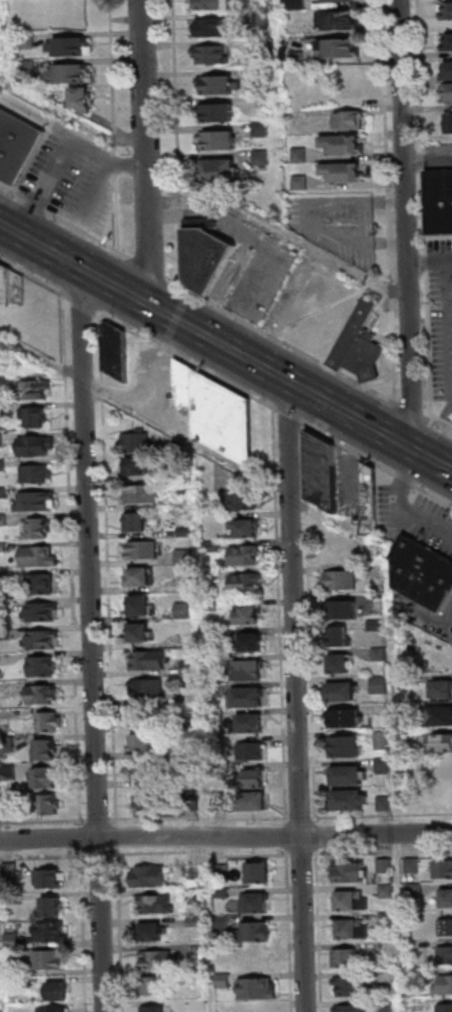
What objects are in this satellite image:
building: (341, 1)
building: (211, 5)
building: (295, 5)
building: (447, 11)
building: (262, 19)
building: (342, 21)
building: (212, 28)
building: (28, 41)
building: (447, 43)
building: (72, 45)
building: (339, 49)
building: (266, 51)
building: (211, 56)
building: (298, 58)
building: (28, 67)
building: (72, 72)
building: (449, 73)
building: (260, 75)
building: (352, 83)
building: (218, 87)
building: (449, 94)
building: (80, 99)
building: (220, 115)
road: (69, 116)
building: (351, 122)
road: (115, 125)
building: (450, 125)
building: (261, 131)
building: (220, 142)
road: (179, 144)
building: (15, 145)
building: (344, 147)
road: (61, 151)
road: (143, 153)
building: (261, 157)
building: (301, 157)
road: (426, 158)
building: (219, 171)
building: (342, 173)
building: (301, 183)
road: (387, 201)
building: (440, 203)
road: (86, 209)
road: (425, 209)
road: (315, 215)
road: (403, 225)
road: (278, 231)
road: (260, 242)
building: (206, 255)
road: (427, 262)
parking lot: (250, 266)
road: (35, 277)
building: (6, 286)
building: (20, 289)
road: (450, 293)
road: (198, 296)
road: (451, 302)
road: (85, 304)
building: (360, 347)
road: (225, 348)
building: (114, 350)
road: (40, 357)
road: (184, 357)
road: (157, 367)
building: (35, 392)
road: (410, 409)
building: (2, 412)
road: (286, 412)
building: (220, 413)
building: (37, 418)
road: (438, 421)
building: (2, 441)
road: (189, 441)
building: (139, 444)
building: (38, 448)
road: (377, 461)
building: (3, 467)
building: (138, 468)
road: (451, 469)
building: (323, 474)
building: (37, 475)
building: (184, 477)
building: (3, 494)
building: (370, 494)
building: (145, 496)
building: (244, 502)
building: (37, 504)
road: (405, 505)
parking lot: (416, 517)
building: (3, 521)
building: (212, 521)
road: (340, 523)
building: (138, 524)
building: (38, 530)
building: (246, 530)
building: (186, 532)
building: (214, 547)
building: (4, 549)
building: (145, 551)
building: (184, 557)
building: (246, 557)
building: (40, 559)
road: (72, 562)
building: (423, 574)
building: (142, 579)
building: (5, 580)
building: (342, 581)
road: (390, 582)
building: (246, 584)
building: (43, 585)
building: (214, 606)
building: (142, 607)
building: (185, 611)
building: (42, 613)
building: (342, 613)
building: (249, 617)
road: (432, 620)
building: (378, 626)
road: (422, 631)
building: (5, 633)
building: (142, 635)
building: (339, 639)
building: (43, 640)
road: (93, 643)
building: (253, 645)
building: (381, 655)
building: (150, 662)
building: (341, 666)
building: (43, 667)
building: (190, 667)
building: (250, 672)
building: (408, 680)
road: (204, 681)
building: (381, 686)
building: (6, 689)
building: (148, 689)
building: (216, 691)
building: (441, 692)
building: (43, 694)
building: (190, 694)
building: (343, 694)
road: (297, 697)
building: (249, 700)
building: (217, 717)
building: (142, 718)
building: (440, 719)
building: (348, 721)
building: (51, 722)
building: (190, 722)
building: (250, 727)
building: (410, 737)
building: (383, 741)
building: (8, 745)
building: (142, 745)
building: (438, 745)
building: (350, 749)
building: (47, 750)
building: (254, 752)
building: (384, 766)
building: (442, 767)
building: (151, 772)
building: (9, 774)
road: (396, 775)
building: (350, 778)
building: (47, 779)
building: (254, 781)
building: (442, 794)
building: (152, 801)
building: (351, 803)
building: (253, 804)
building: (51, 805)
building: (191, 805)
building: (221, 805)
building: (385, 805)
building: (9, 811)
road: (94, 821)
road: (45, 823)
road: (276, 837)
road: (50, 839)
road: (82, 841)
road: (119, 843)
road: (288, 843)
road: (317, 843)
road: (202, 852)
road: (383, 853)
road: (100, 855)
road: (303, 855)
road: (44, 857)
building: (386, 867)
building: (413, 867)
building: (444, 870)
building: (11, 871)
building: (223, 873)
building: (196, 874)
building: (352, 874)
building: (260, 875)
building: (151, 878)
building: (53, 880)
building: (387, 891)
building: (417, 891)
building: (222, 894)
building: (196, 895)
building: (448, 900)
building: (353, 902)
building: (154, 905)
building: (255, 905)
building: (53, 909)
building: (389, 919)
building: (195, 922)
building: (223, 922)
building: (446, 928)
road: (121, 930)
road: (291, 930)
road: (320, 930)
road: (84, 932)
building: (354, 932)
building: (255, 933)
building: (54, 935)
building: (155, 935)
building: (13, 941)
building: (223, 942)
building: (445, 956)
building: (347, 959)
building: (50, 961)
building: (158, 962)
building: (418, 976)
building: (224, 982)
building: (155, 987)
building: (445, 987)
building: (352, 988)
building: (258, 991)
building: (59, 993)
building: (388, 1005)
road: (403, 1006)
building: (353, 1009)
building: (446, 1009)
building: (56, 1010)
building: (155, 1010)

